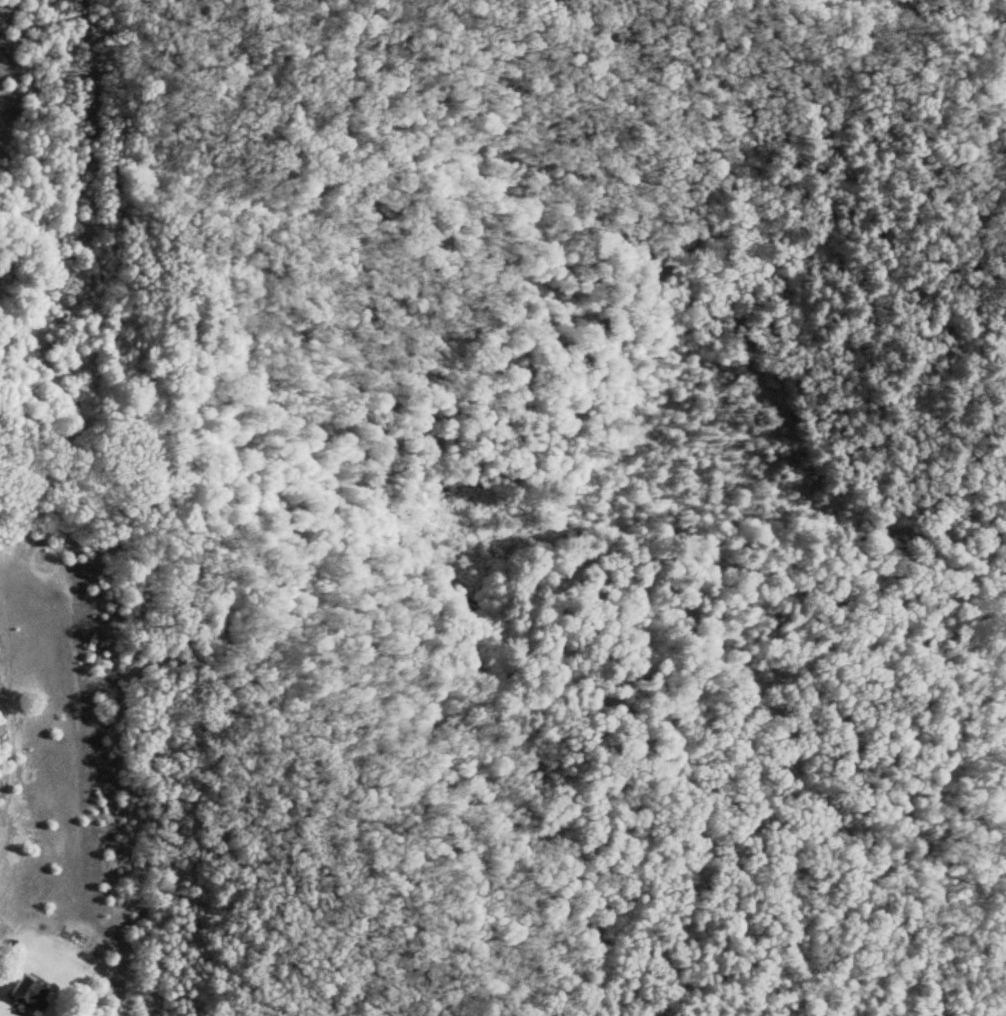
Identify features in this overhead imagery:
building: (27, 995)

